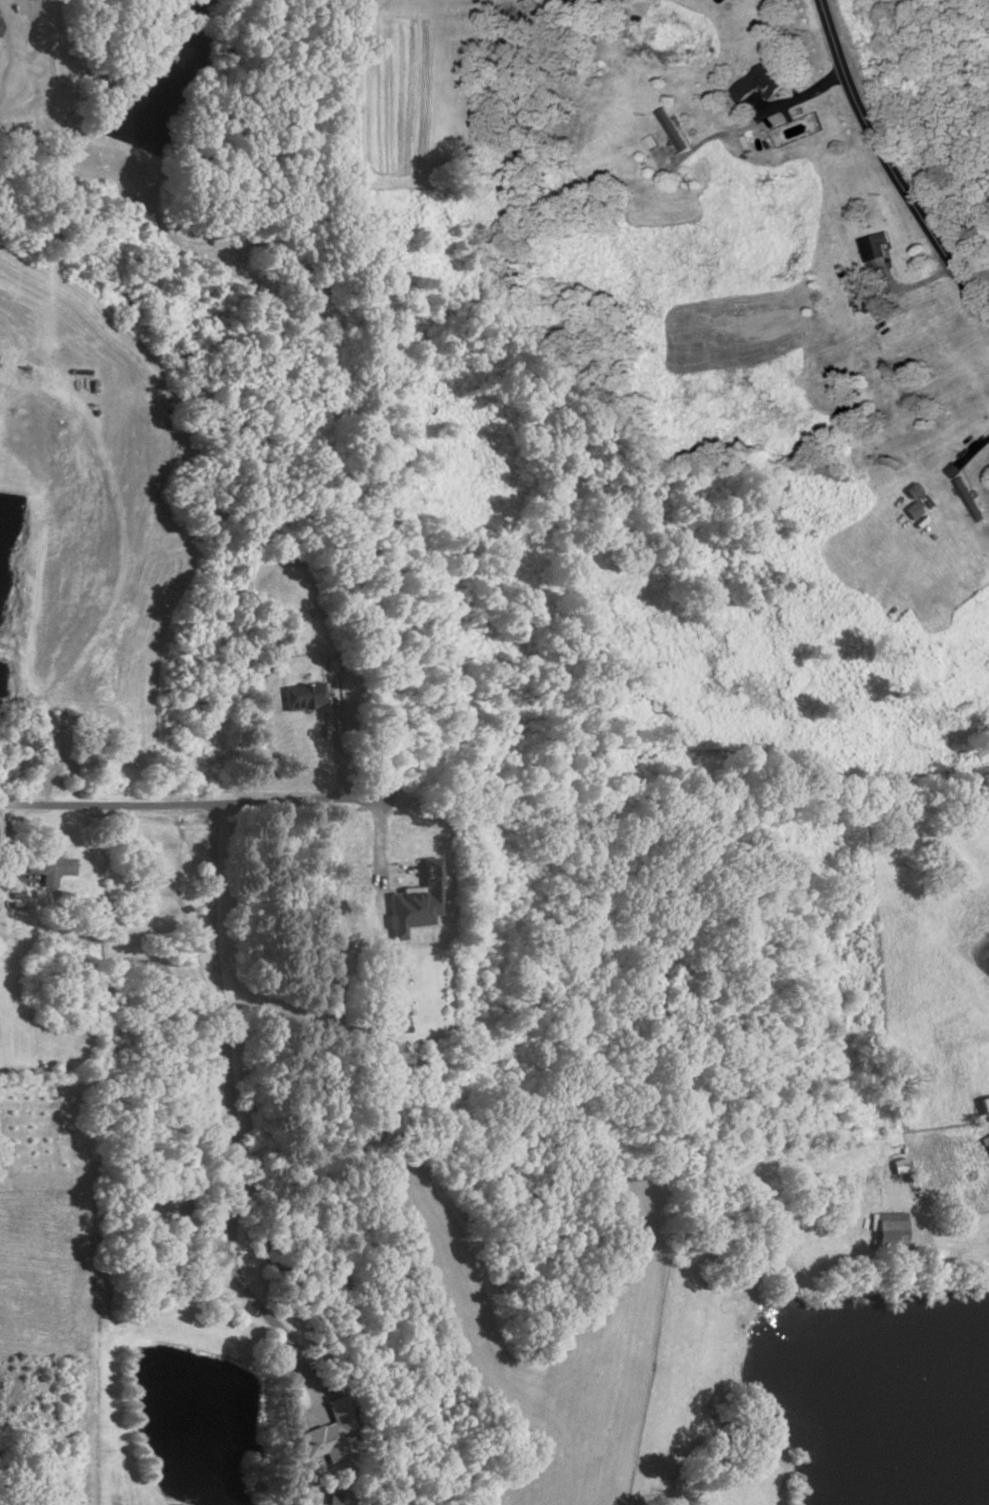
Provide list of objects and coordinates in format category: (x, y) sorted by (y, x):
building: (764, 81)
road: (760, 120)
building: (674, 129)
building: (652, 143)
road: (890, 165)
building: (876, 247)
road: (920, 284)
road: (976, 452)
building: (953, 471)
building: (969, 501)
building: (912, 509)
building: (302, 698)
road: (336, 748)
road: (168, 806)
road: (383, 845)
building: (47, 869)
building: (408, 910)
building: (984, 1109)
road: (229, 1125)
building: (986, 1142)
building: (901, 1167)
road: (941, 1228)
building: (892, 1233)
building: (324, 1444)

